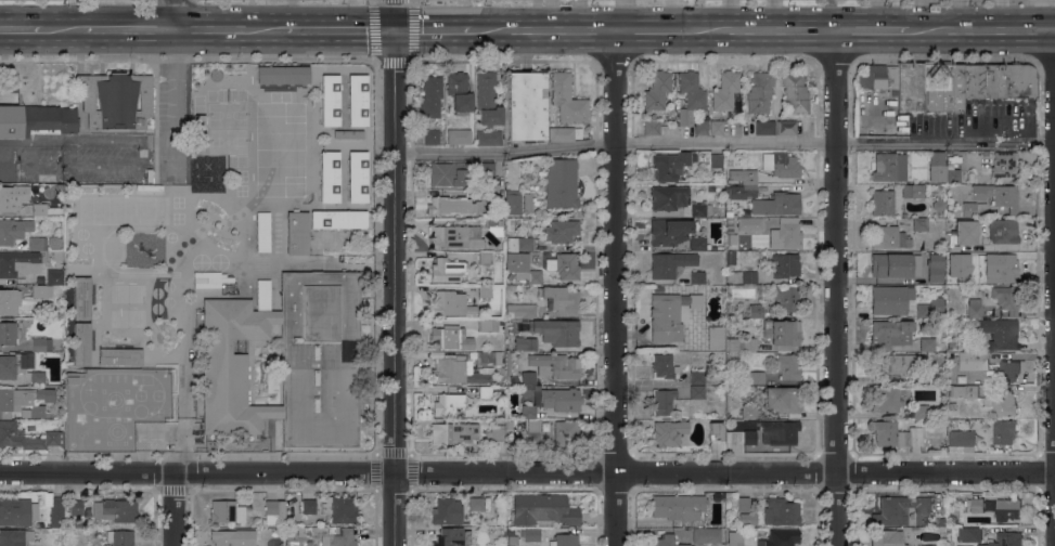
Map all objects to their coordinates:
road: (172, 14)
road: (397, 14)
road: (826, 14)
road: (962, 14)
road: (545, 28)
road: (652, 28)
road: (981, 28)
road: (22, 29)
road: (63, 29)
road: (128, 29)
road: (228, 29)
road: (339, 29)
traffic signals: (397, 29)
road: (436, 29)
road: (764, 29)
road: (874, 29)
building: (283, 75)
building: (876, 77)
building: (979, 81)
building: (1016, 81)
building: (910, 84)
building: (942, 87)
building: (657, 90)
building: (724, 90)
building: (459, 91)
building: (760, 92)
building: (795, 92)
building: (430, 95)
building: (690, 96)
building: (488, 99)
building: (116, 100)
building: (330, 100)
building: (358, 100)
building: (567, 100)
building: (526, 106)
building: (36, 120)
building: (266, 127)
building: (652, 127)
building: (716, 127)
building: (764, 127)
building: (786, 127)
building: (702, 128)
building: (564, 133)
building: (348, 134)
building: (458, 135)
building: (430, 136)
building: (202, 138)
building: (488, 138)
road: (724, 141)
road: (17, 142)
road: (105, 142)
building: (937, 158)
building: (716, 159)
building: (1004, 164)
building: (669, 165)
building: (781, 165)
building: (887, 168)
building: (988, 170)
building: (936, 171)
building: (459, 173)
building: (497, 174)
building: (329, 175)
building: (956, 175)
building: (357, 177)
building: (981, 180)
building: (562, 183)
building: (744, 186)
building: (913, 191)
building: (494, 195)
building: (998, 196)
building: (12, 197)
building: (669, 197)
building: (93, 203)
building: (141, 203)
building: (527, 203)
building: (882, 203)
building: (513, 204)
building: (777, 204)
building: (454, 206)
building: (939, 206)
building: (700, 209)
building: (973, 209)
building: (47, 210)
building: (338, 219)
building: (729, 220)
building: (493, 222)
building: (919, 223)
building: (750, 224)
building: (730, 226)
building: (13, 230)
building: (262, 231)
building: (669, 231)
building: (1003, 231)
building: (562, 232)
building: (787, 232)
building: (965, 232)
building: (297, 233)
building: (455, 237)
building: (890, 237)
building: (54, 242)
building: (81, 243)
building: (37, 244)
building: (519, 244)
building: (698, 244)
road: (176, 252)
building: (57, 255)
building: (730, 257)
building: (950, 257)
building: (485, 258)
building: (20, 263)
building: (669, 264)
building: (895, 264)
building: (564, 265)
building: (786, 265)
building: (935, 266)
building: (523, 268)
building: (1001, 268)
building: (445, 270)
building: (54, 277)
building: (697, 277)
building: (749, 277)
building: (207, 285)
road: (617, 286)
road: (398, 287)
building: (704, 287)
road: (838, 287)
building: (662, 288)
building: (968, 289)
building: (41, 290)
building: (485, 291)
building: (82, 297)
building: (561, 298)
building: (786, 298)
building: (890, 299)
building: (1006, 299)
building: (9, 301)
building: (448, 303)
building: (974, 307)
building: (44, 308)
building: (930, 308)
building: (520, 310)
building: (756, 311)
building: (667, 313)
building: (488, 325)
building: (556, 331)
building: (782, 331)
building: (8, 333)
building: (891, 333)
building: (1000, 333)
building: (449, 338)
building: (716, 338)
building: (41, 343)
building: (82, 343)
building: (525, 343)
building: (951, 343)
building: (739, 344)
building: (927, 344)
building: (119, 356)
building: (488, 357)
building: (288, 360)
building: (988, 363)
building: (895, 365)
building: (664, 366)
building: (787, 366)
building: (21, 367)
building: (562, 367)
building: (460, 370)
building: (528, 375)
building: (698, 377)
building: (756, 377)
building: (748, 389)
building: (964, 391)
building: (485, 392)
building: (697, 392)
building: (561, 399)
building: (884, 399)
building: (783, 400)
building: (662, 401)
building: (25, 402)
building: (448, 404)
building: (1000, 404)
building: (114, 405)
building: (951, 406)
building: (528, 412)
building: (745, 412)
building: (916, 413)
building: (509, 424)
building: (736, 425)
building: (546, 427)
building: (532, 431)
building: (779, 432)
building: (1003, 432)
building: (453, 433)
building: (496, 433)
building: (565, 433)
building: (896, 434)
building: (669, 437)
building: (27, 438)
building: (744, 438)
building: (962, 439)
road: (527, 473)
building: (475, 504)
building: (743, 505)
building: (977, 505)
building: (309, 506)
building: (75, 507)
building: (678, 507)
road: (176, 509)
building: (339, 509)
building: (898, 509)
building: (1007, 509)
building: (115, 510)
building: (543, 510)
building: (16, 511)
building: (56, 511)
building: (227, 511)
building: (447, 511)
building: (781, 511)
building: (274, 512)
building: (747, 518)
building: (919, 523)
building: (530, 534)
building: (338, 535)
building: (707, 535)
building: (969, 535)
building: (14, 537)
building: (120, 537)
building: (233, 537)
building: (452, 537)
building: (780, 537)
building: (887, 537)
building: (734, 538)
building: (564, 539)
building: (1005, 539)
building: (512, 541)
building: (666, 541)
building: (925, 545)

